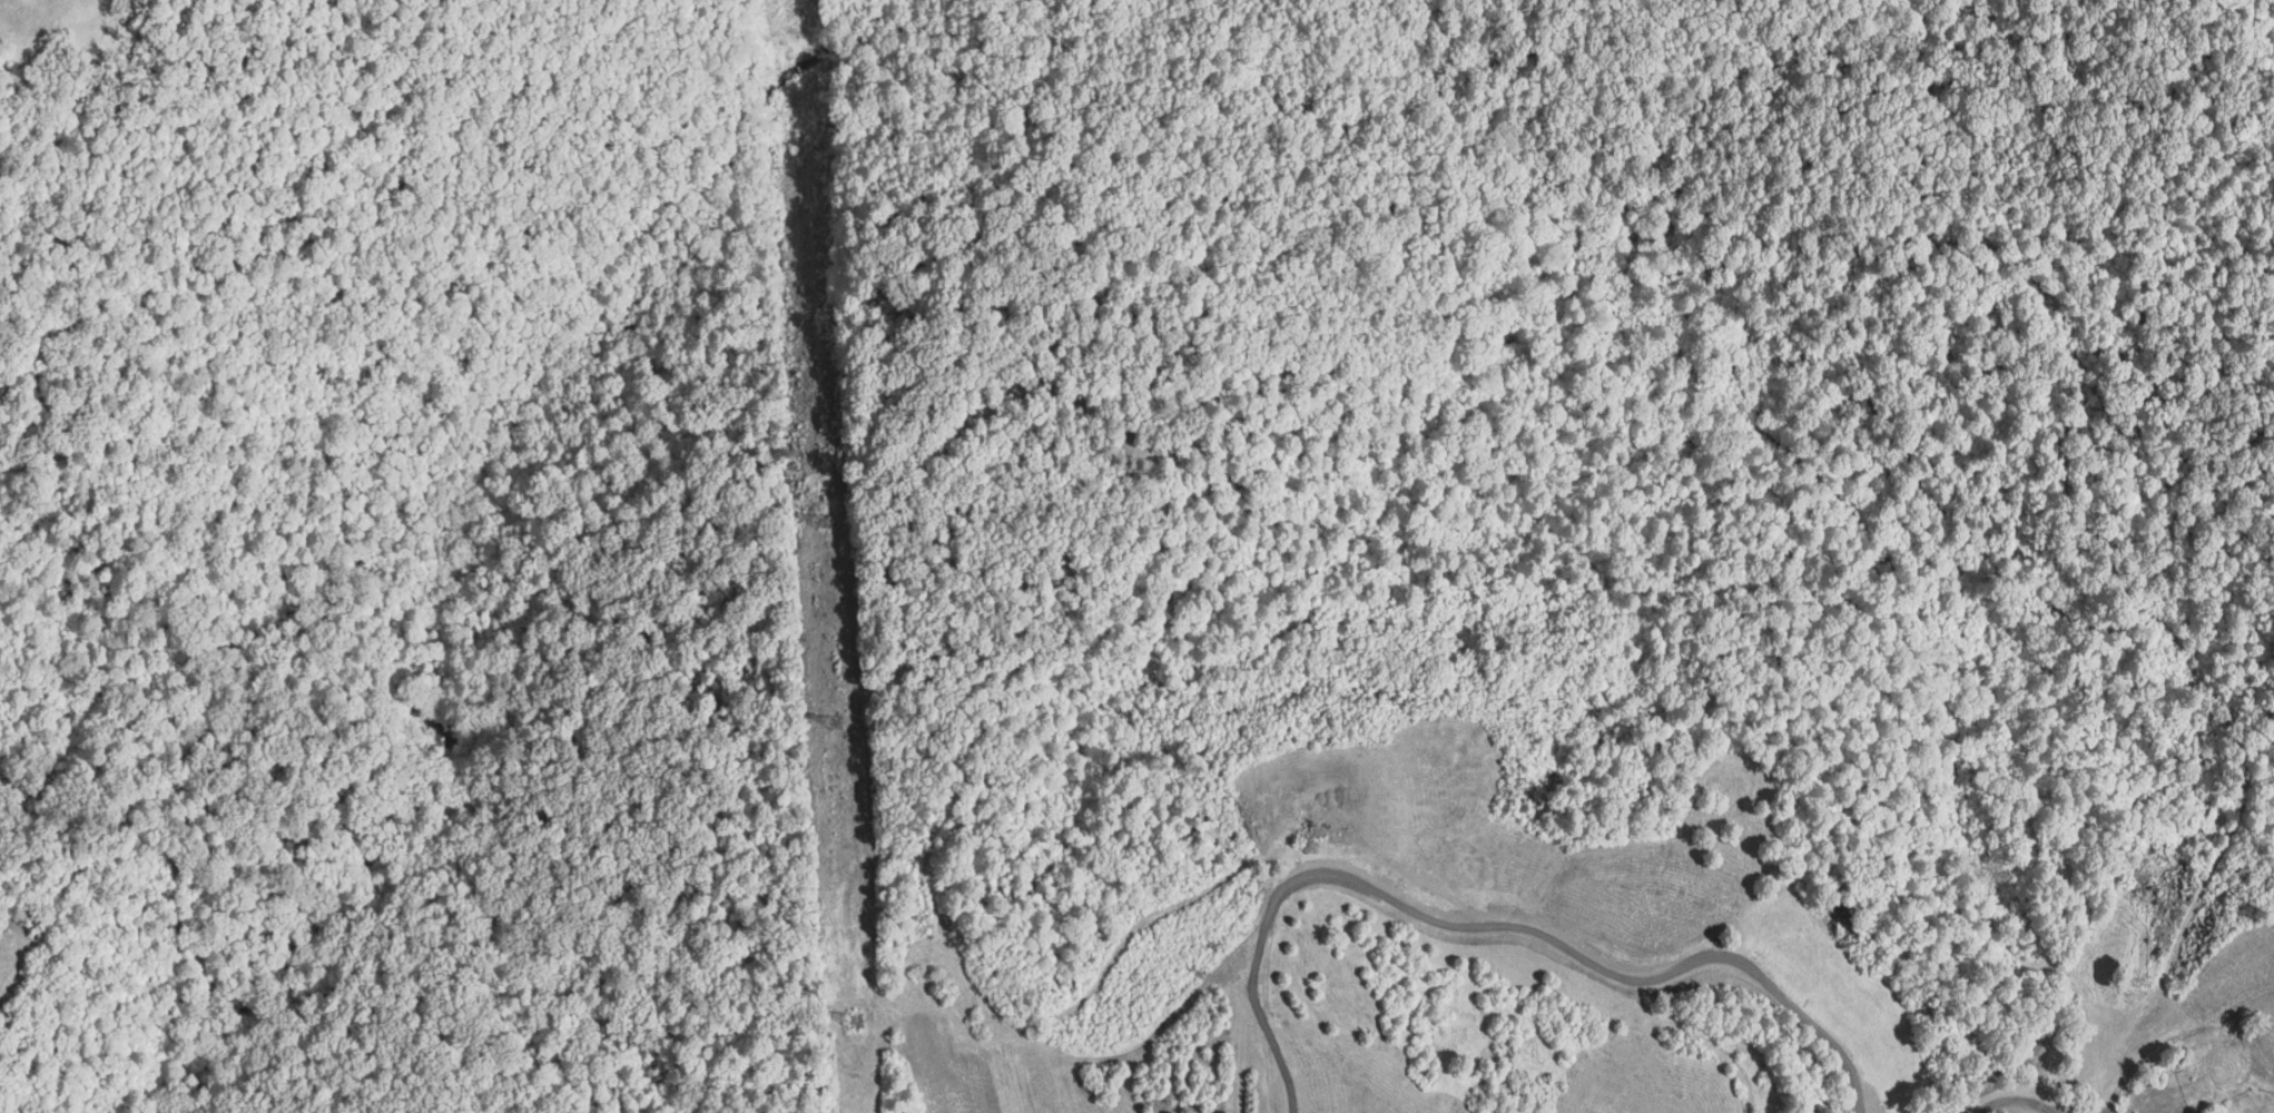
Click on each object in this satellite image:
power tower: (823, 516)
power tower: (837, 725)
power tower: (856, 1016)
road: (2172, 1040)
building: (2225, 1068)

